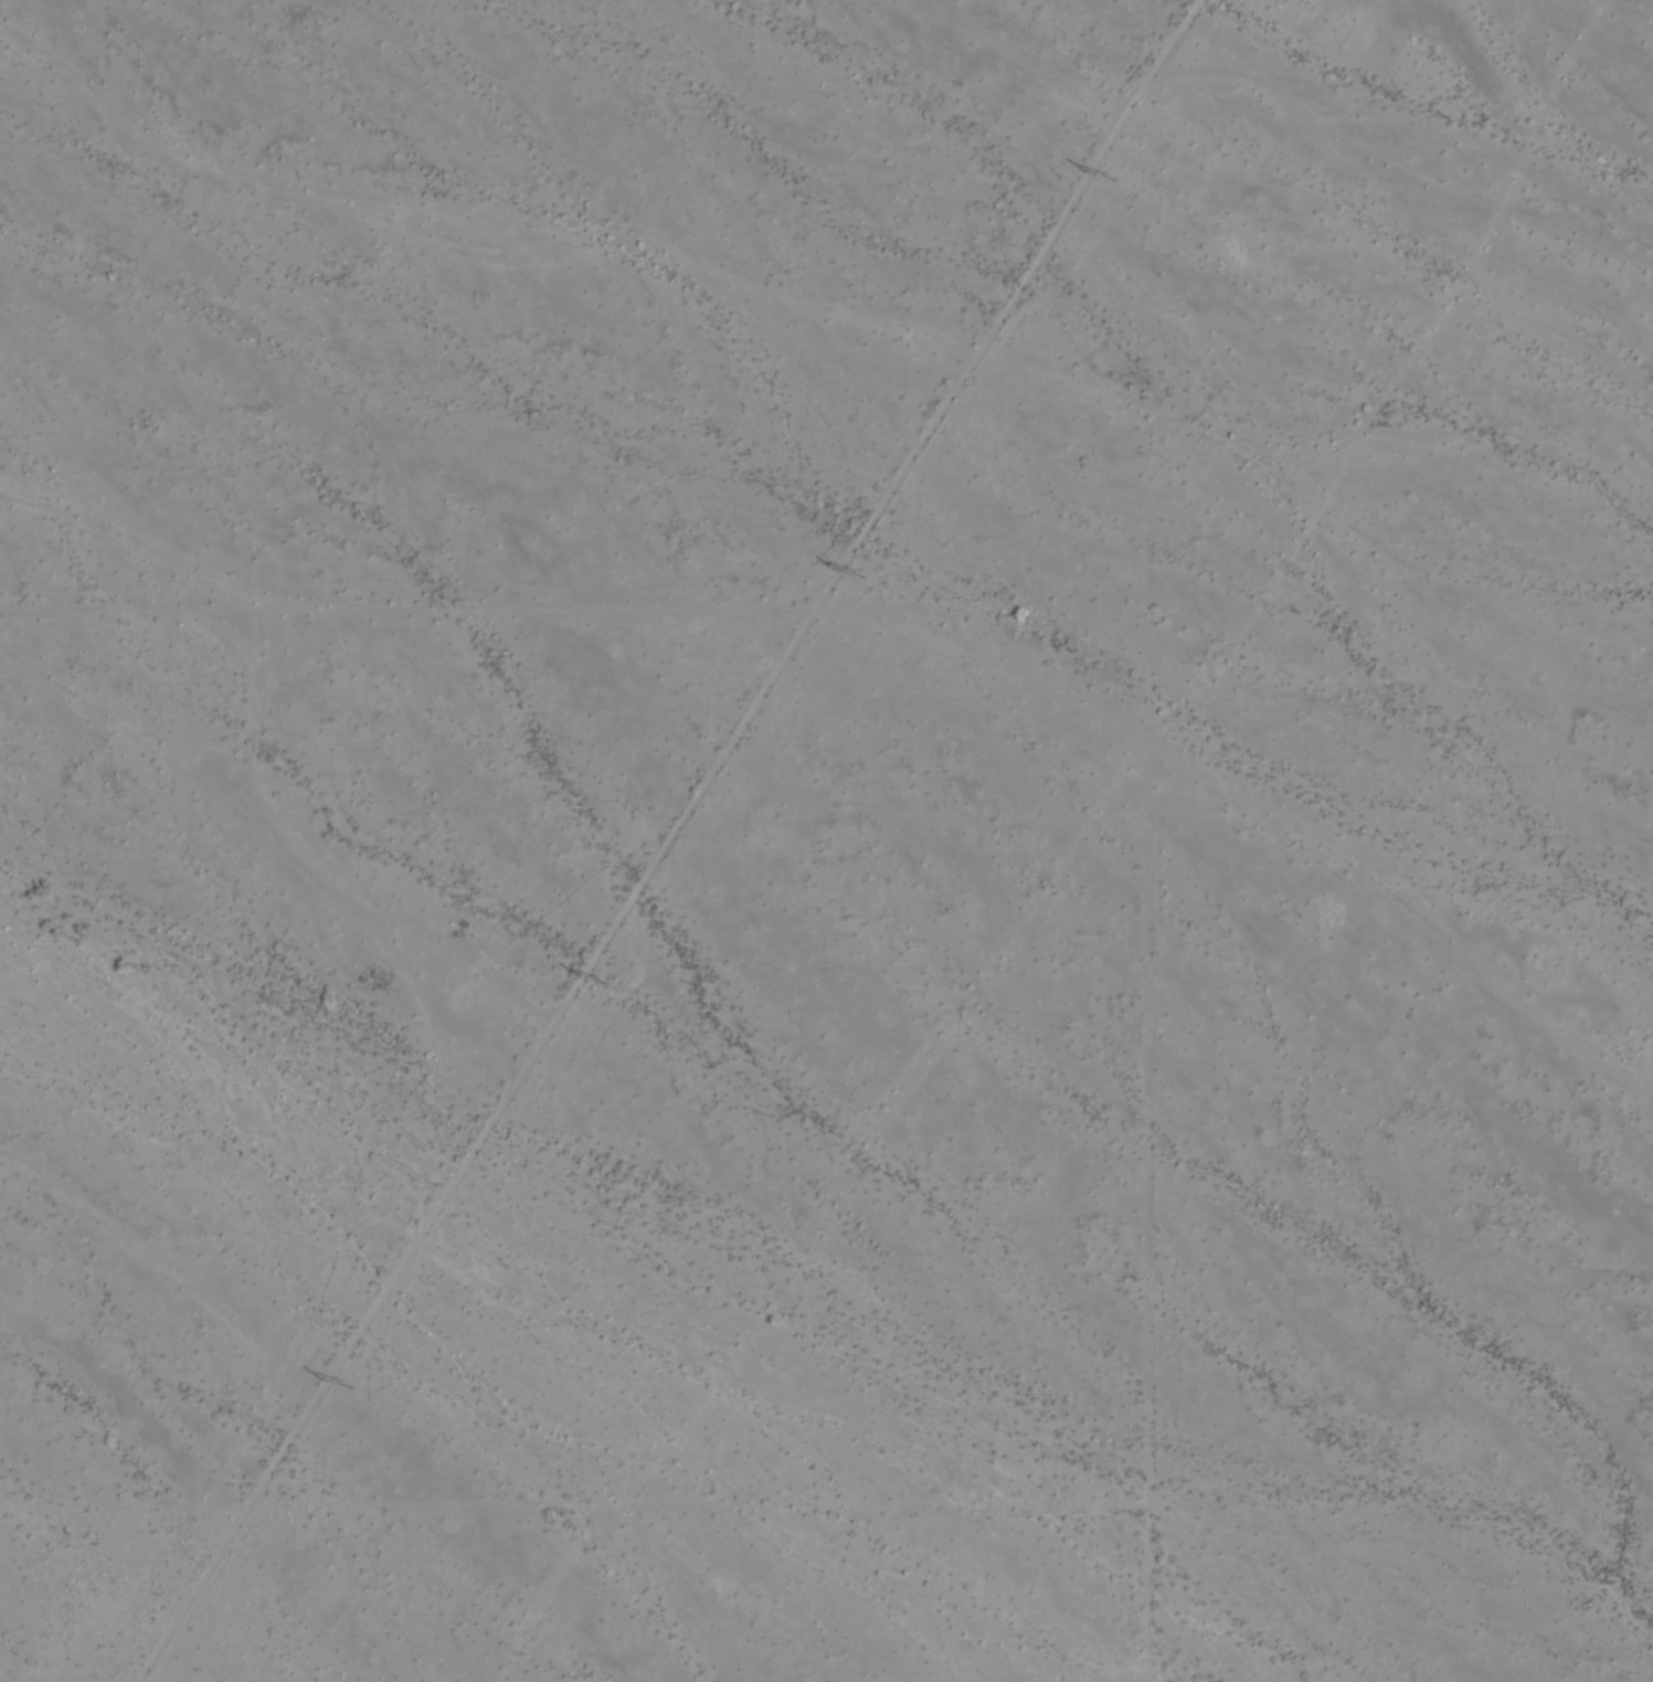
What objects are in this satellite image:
power tower: (1113, 178)
power tower: (865, 579)
road: (1113, 600)
power tower: (608, 978)
road: (489, 1118)
road: (230, 1167)
power tower: (351, 1384)
road: (551, 1499)

